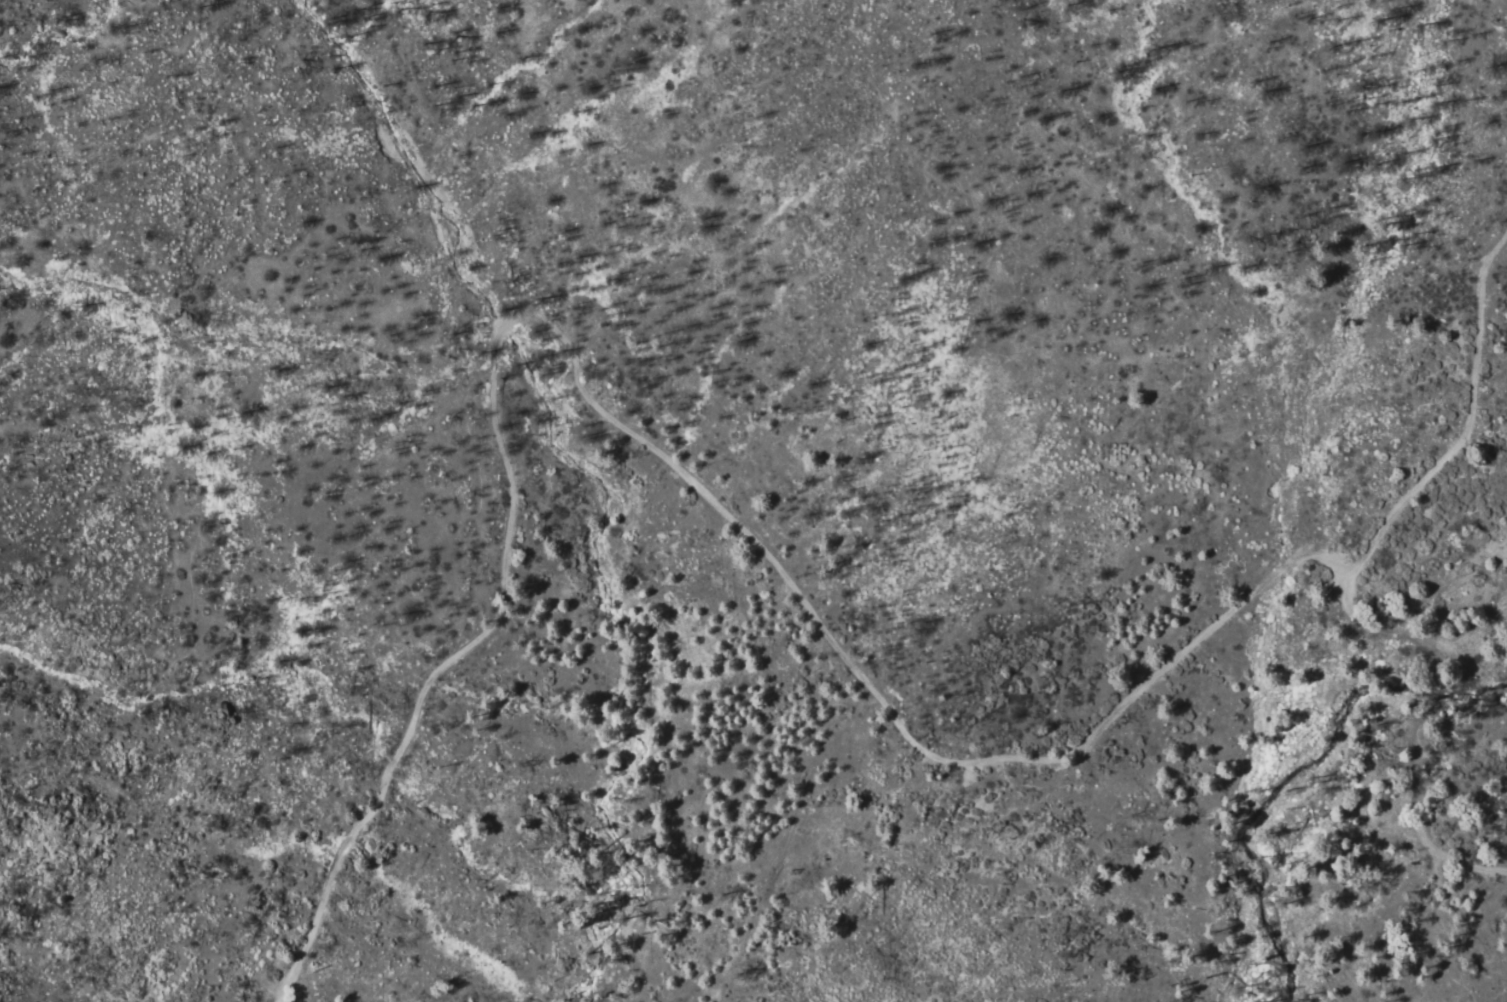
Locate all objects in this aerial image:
road: (1460, 434)
road: (638, 441)
road: (1429, 730)
road: (1475, 935)

